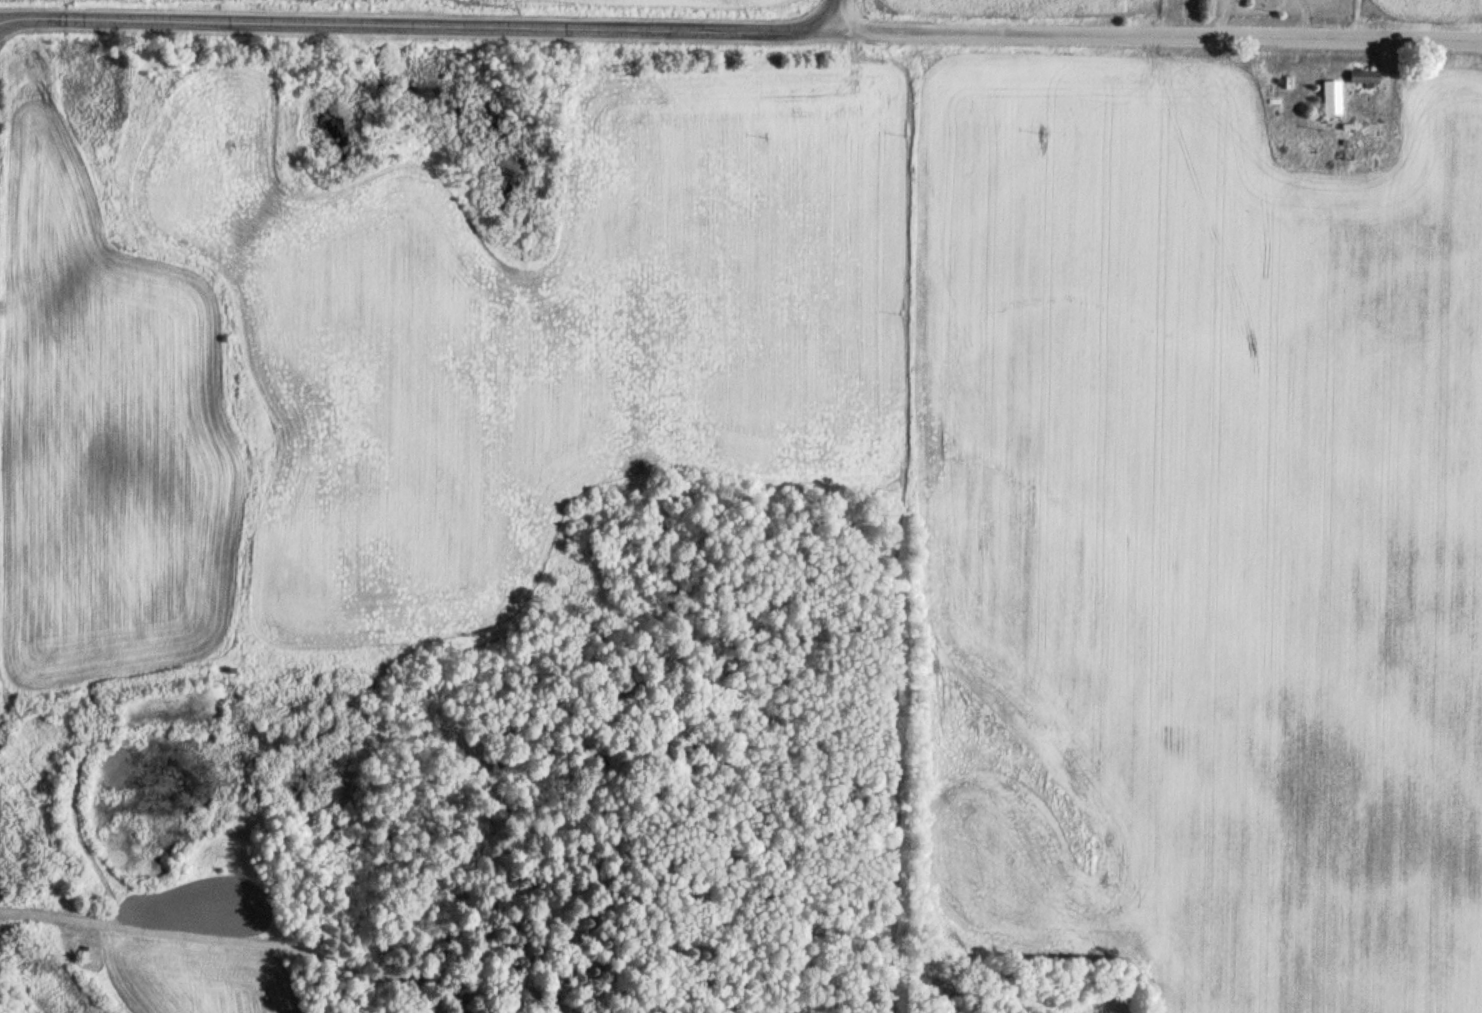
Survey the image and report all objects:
road: (841, 13)
road: (421, 20)
road: (1161, 35)
building: (1364, 77)
building: (1328, 102)

